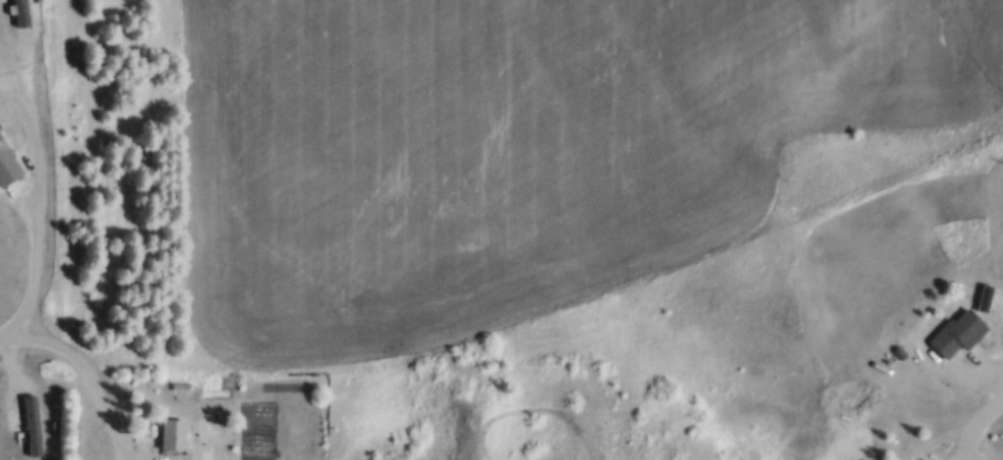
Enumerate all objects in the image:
building: (8, 162)
road: (40, 207)
building: (956, 330)
road: (1, 337)
building: (897, 350)
road: (970, 363)
building: (183, 383)
road: (101, 388)
building: (206, 396)
building: (33, 422)
road: (977, 427)
building: (173, 431)

